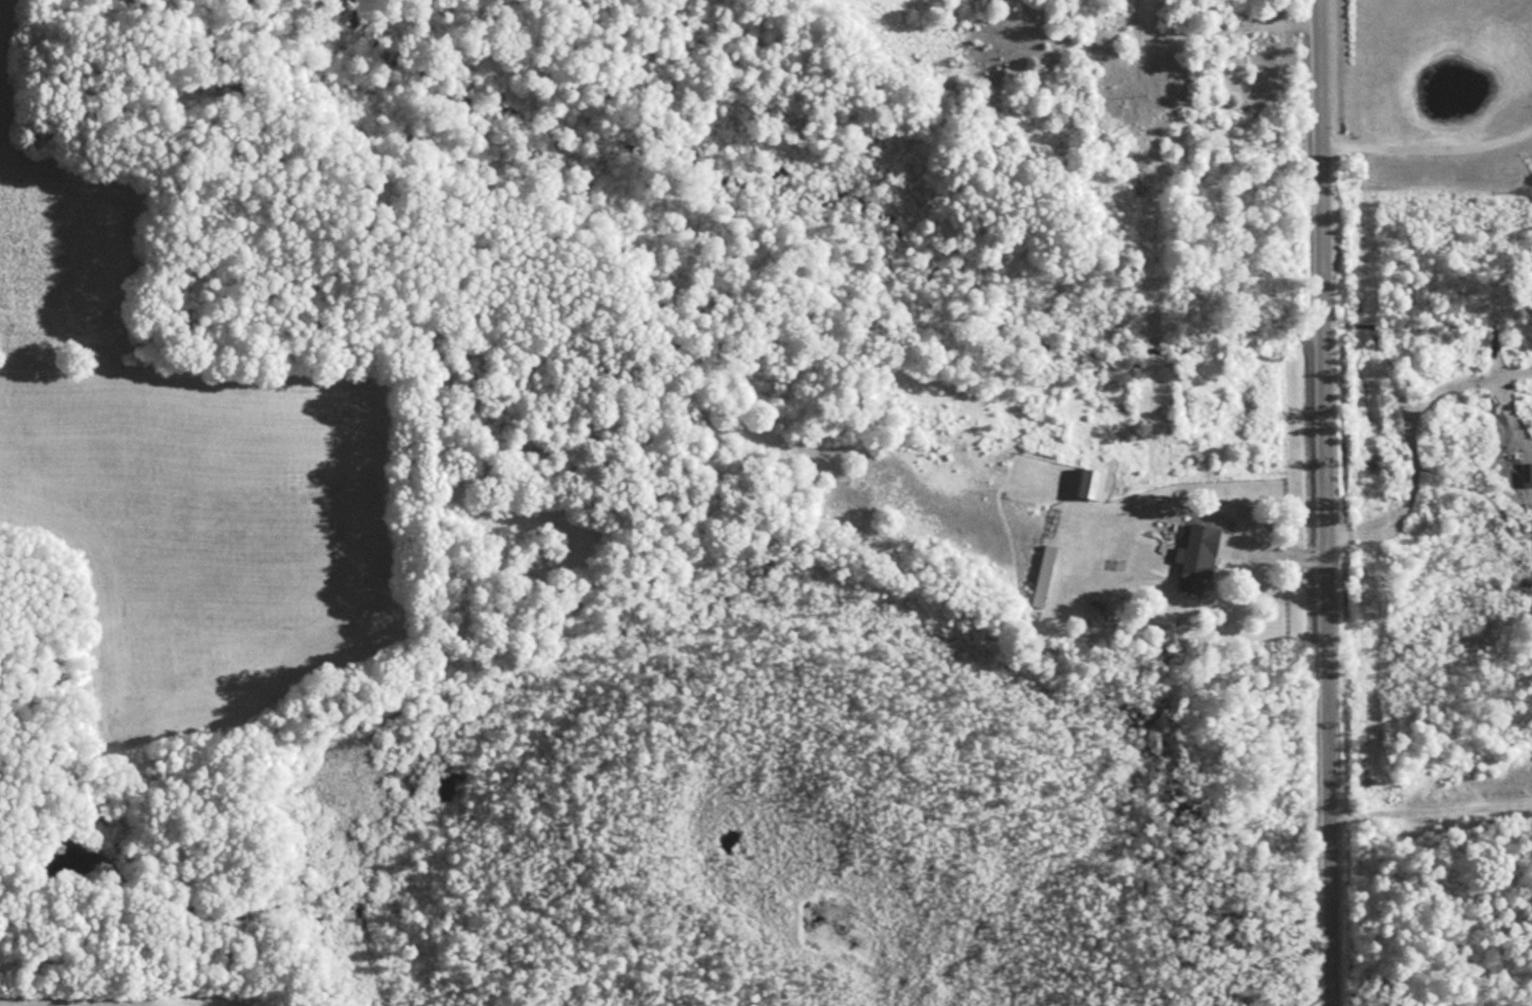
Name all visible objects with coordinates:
road: (1427, 137)
building: (1091, 482)
road: (1326, 502)
building: (1197, 558)
building: (1044, 575)
road: (1431, 808)

